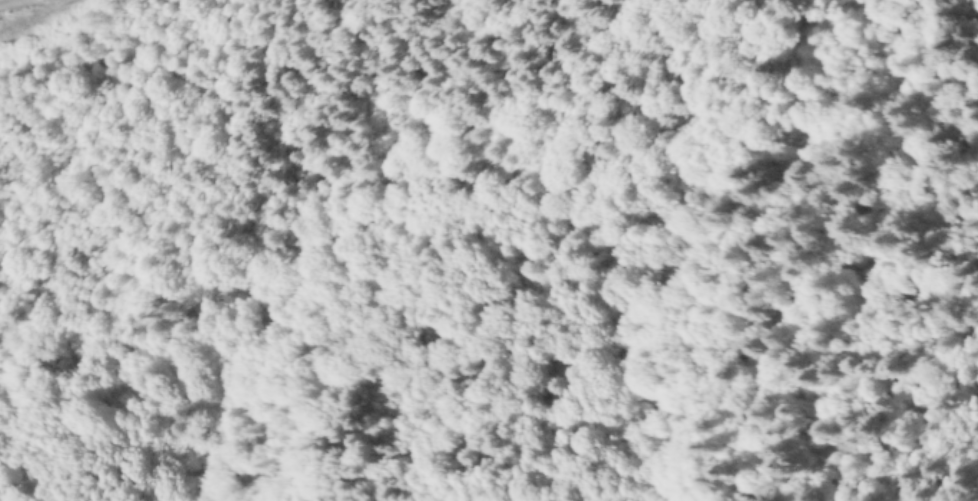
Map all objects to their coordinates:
road: (22, 4)
road: (25, 16)

